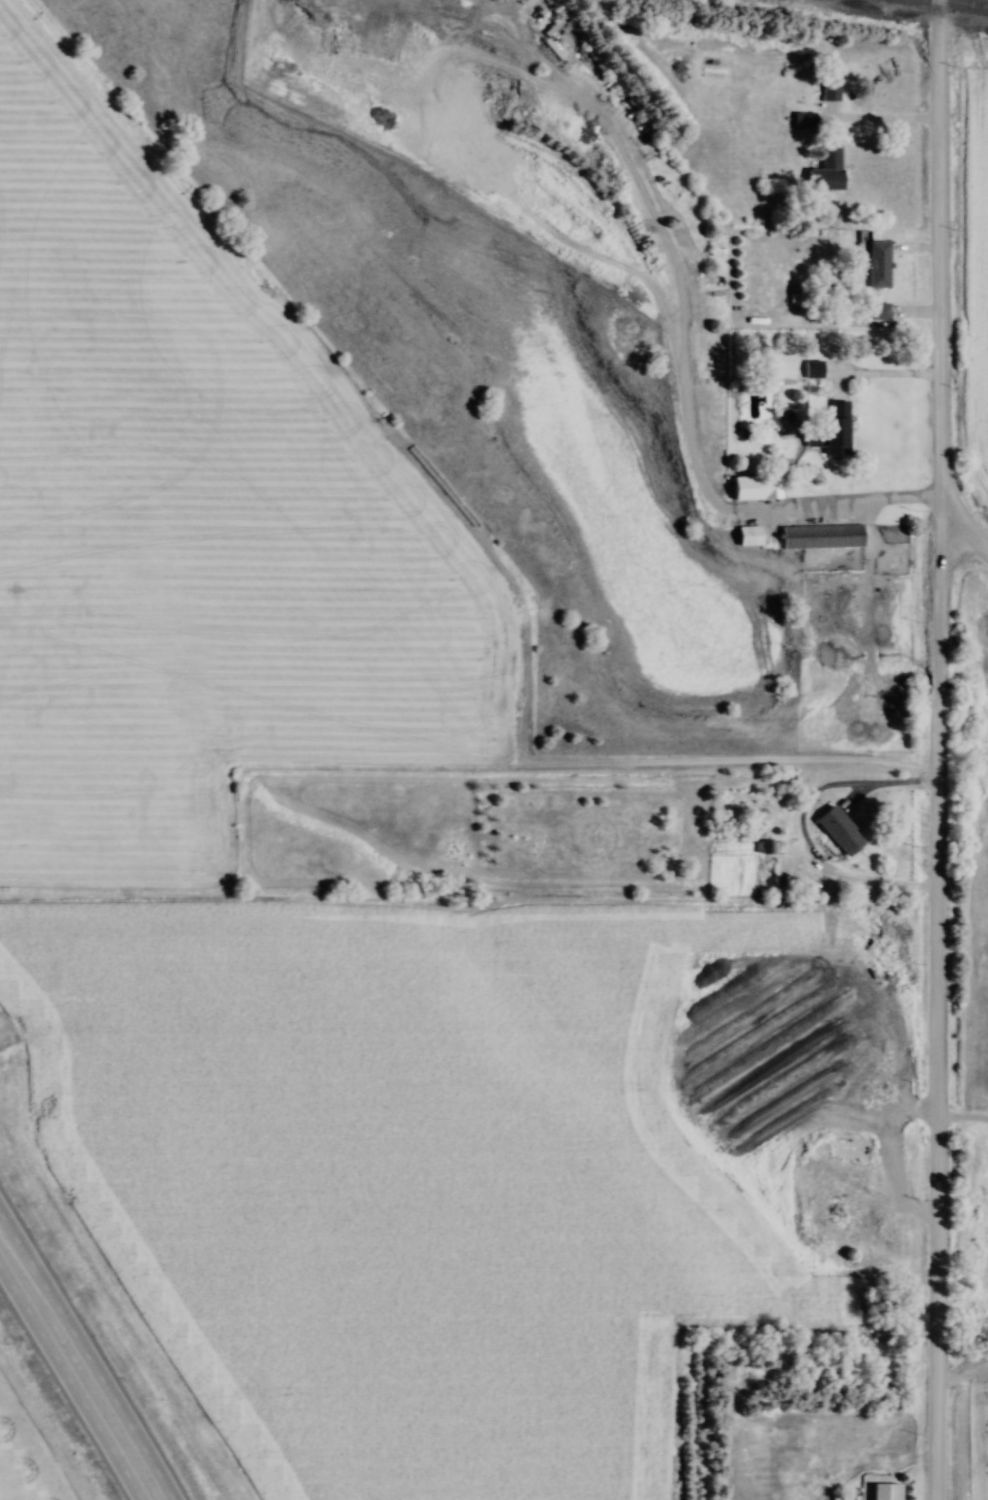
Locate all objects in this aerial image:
railway: (964, 3)
building: (828, 90)
building: (802, 120)
building: (825, 170)
road: (652, 219)
building: (877, 264)
crop: (975, 266)
building: (877, 310)
building: (812, 370)
road: (874, 374)
building: (828, 423)
building: (751, 486)
road: (834, 507)
crop: (192, 516)
road: (963, 528)
building: (820, 534)
building: (747, 536)
road: (932, 749)
road: (797, 828)
building: (838, 831)
building: (849, 1148)
crop: (417, 1168)
building: (869, 1185)
building: (869, 1217)
road: (90, 1348)
road: (73, 1377)
crop: (977, 1437)
building: (884, 1491)

